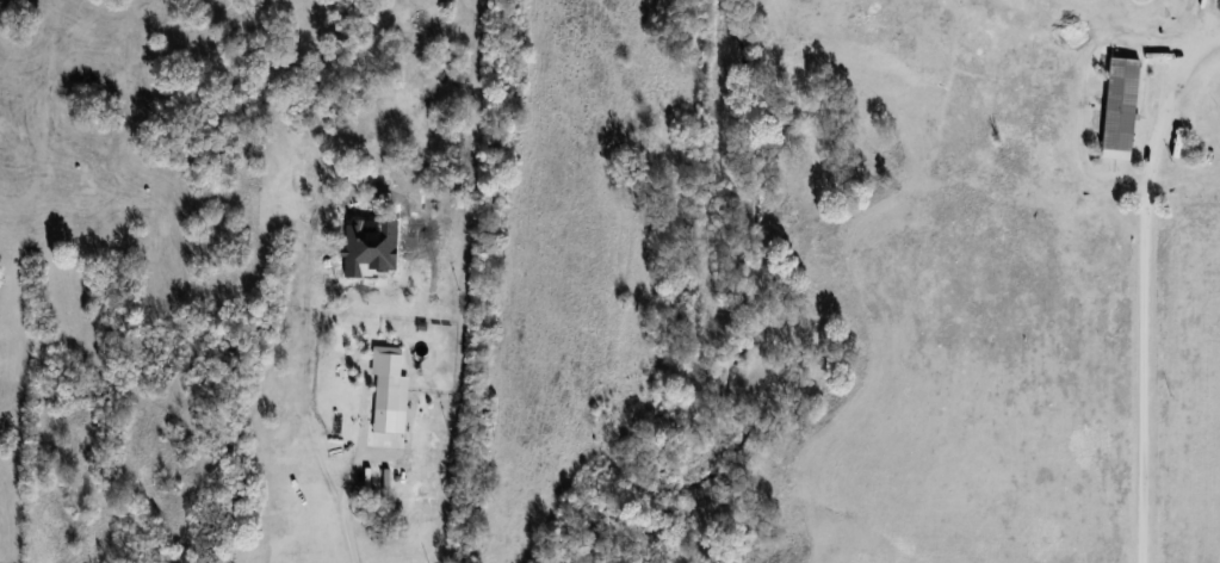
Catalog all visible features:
building: (1122, 107)
road: (1145, 307)
road: (343, 514)

